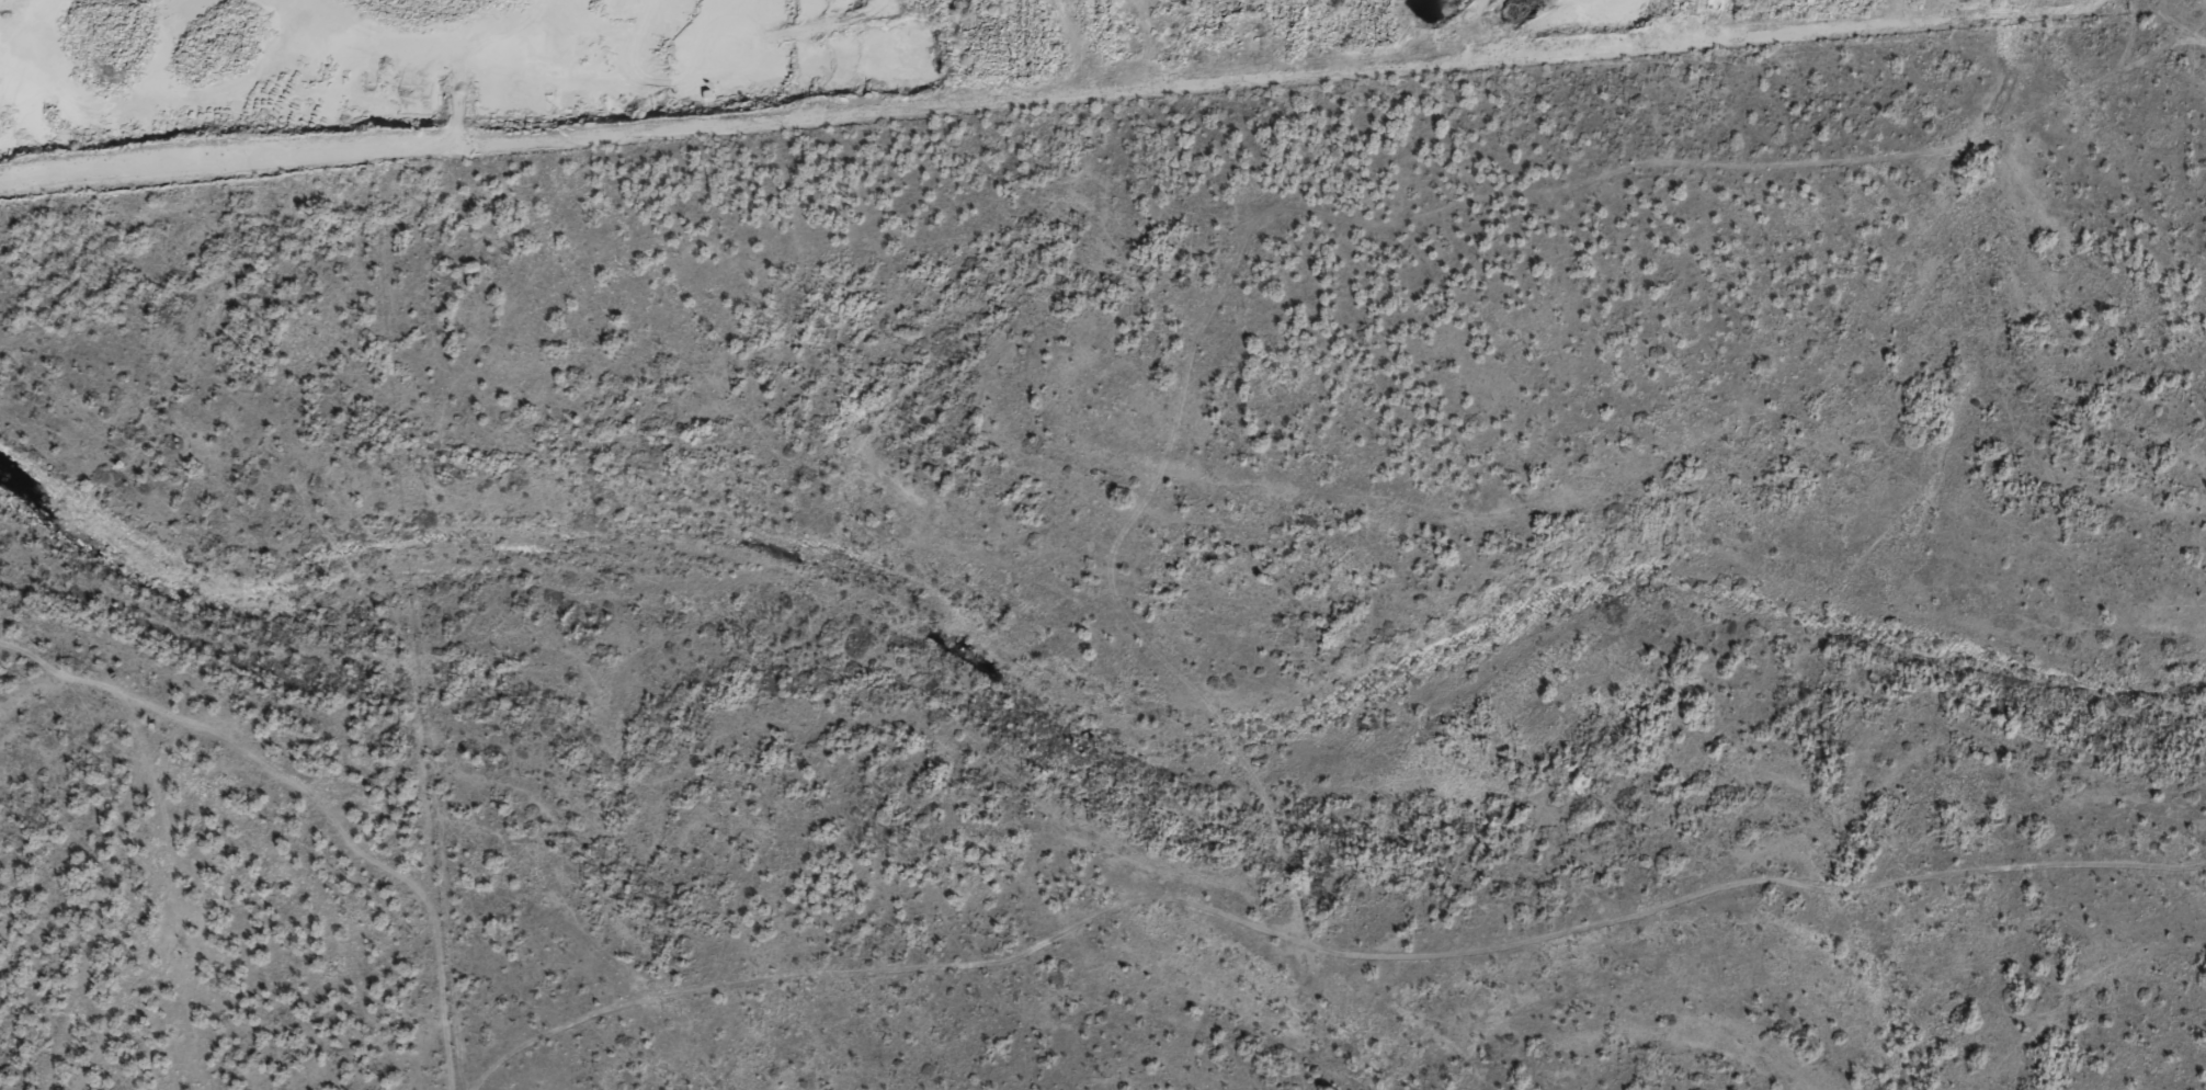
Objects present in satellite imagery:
road: (1190, 688)
road: (1761, 893)
road: (1209, 917)
road: (1407, 1022)

